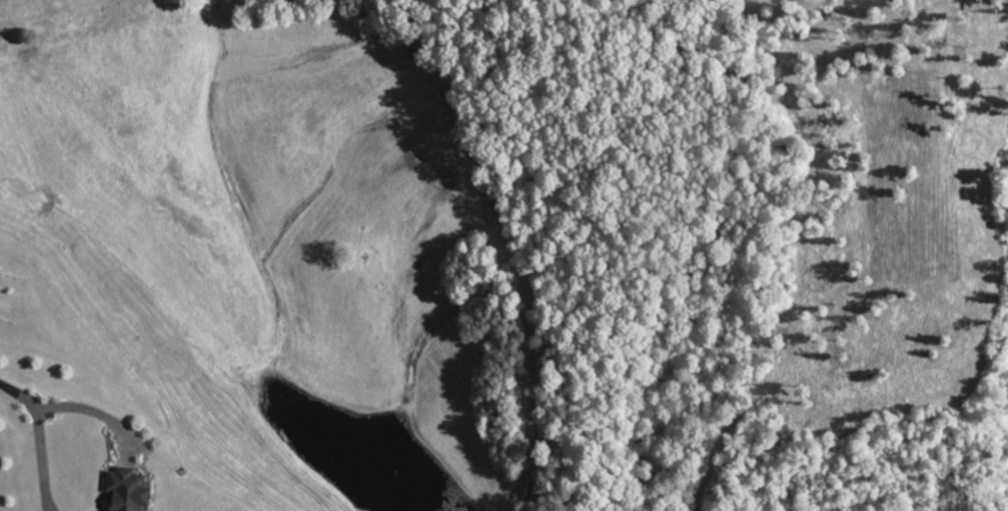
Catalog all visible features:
building: (133, 488)

